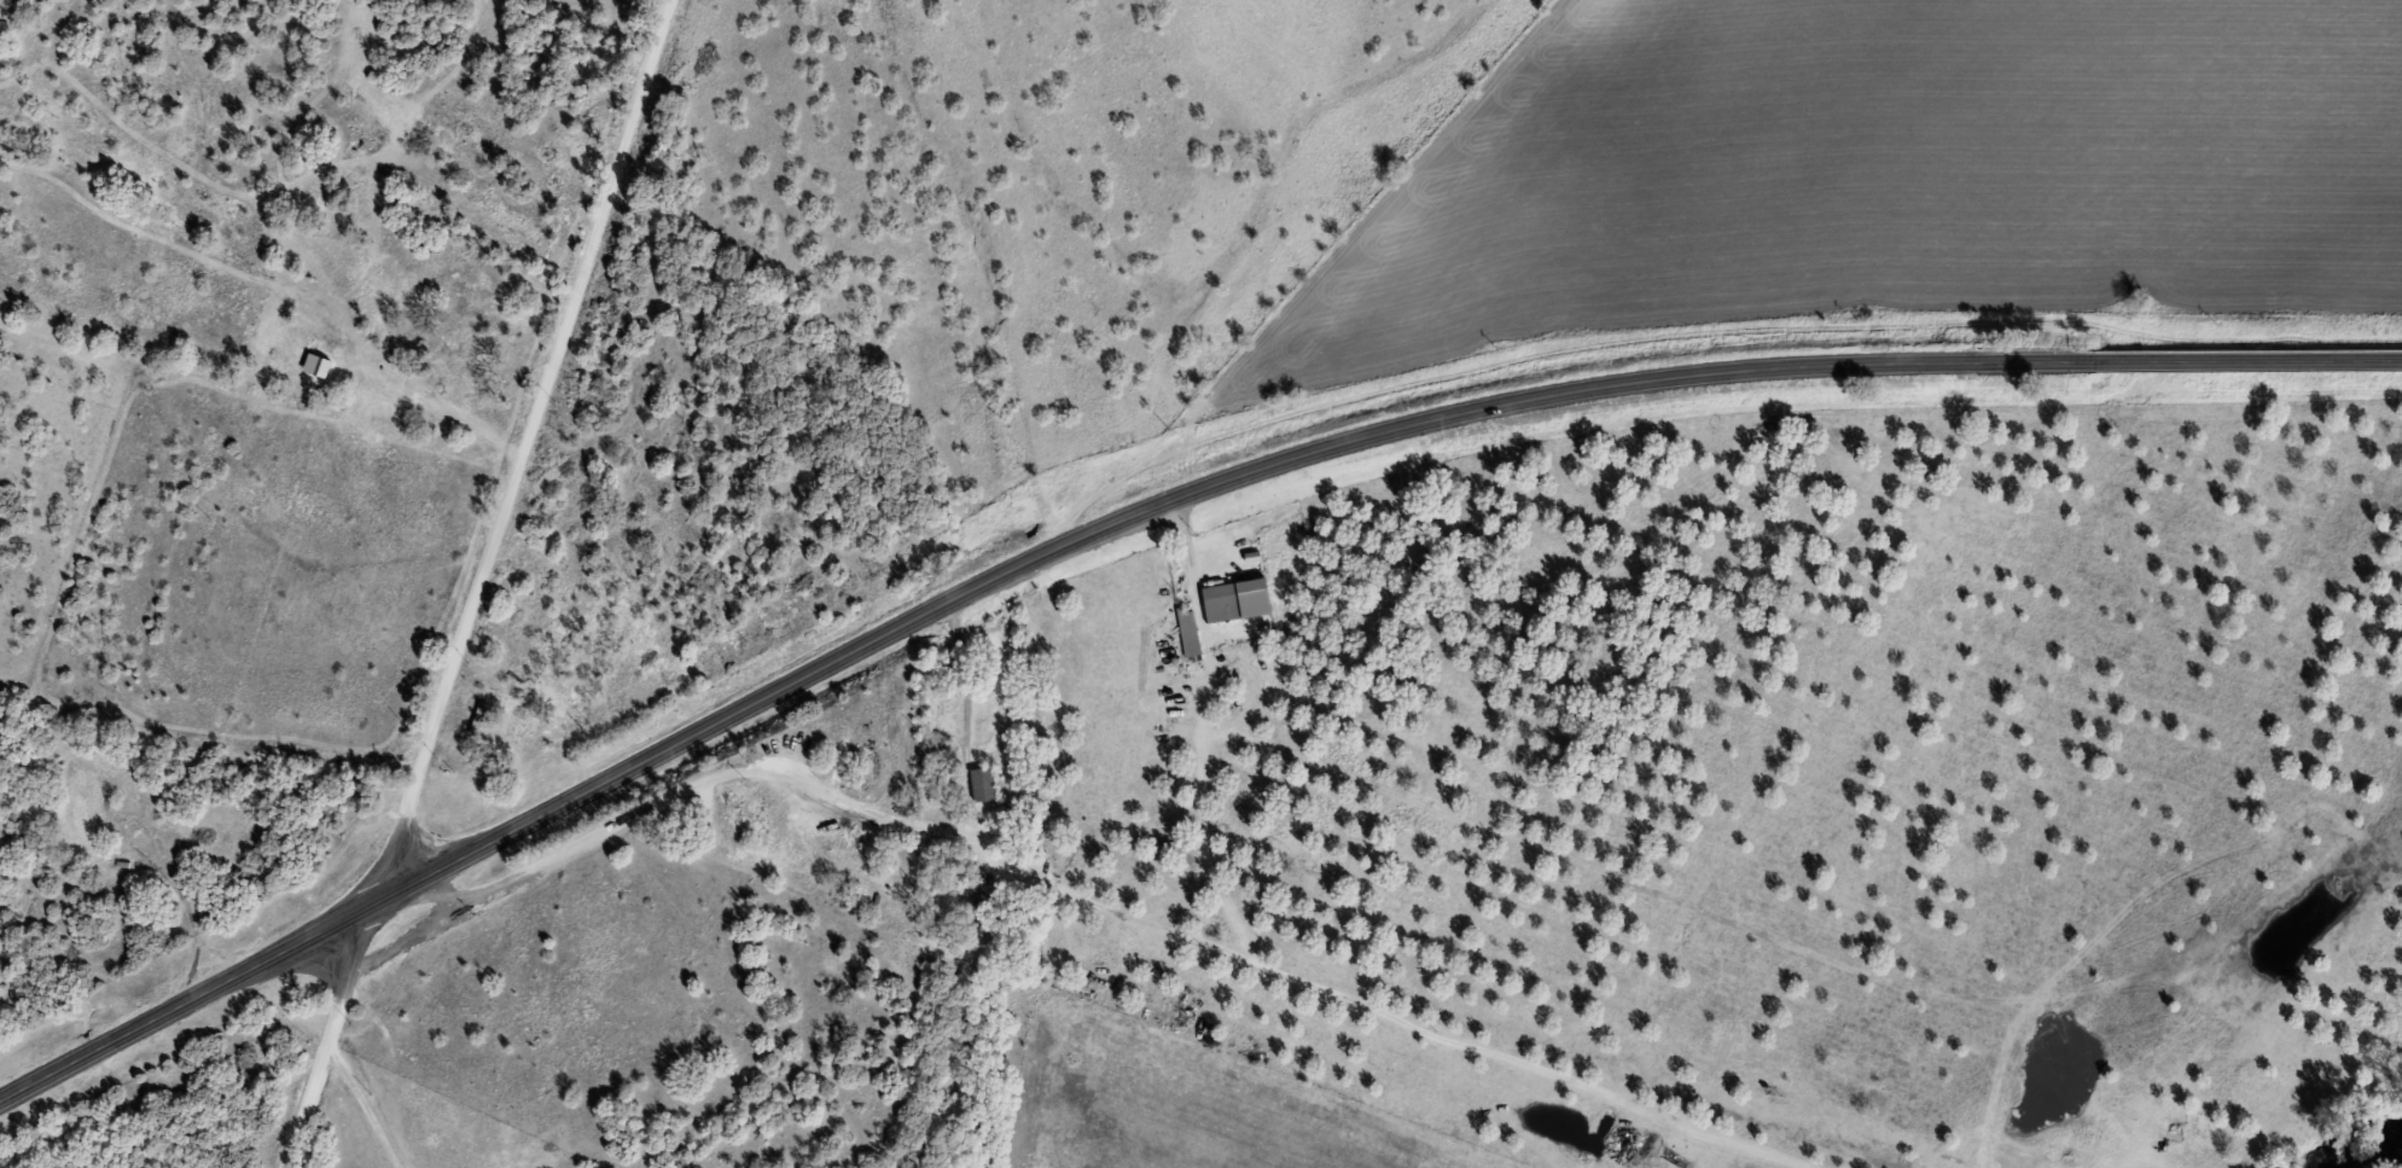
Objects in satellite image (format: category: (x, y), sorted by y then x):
building: (411, 329)
building: (319, 331)
building: (291, 359)
road: (339, 360)
building: (460, 365)
road: (547, 442)
road: (1140, 516)
building: (1238, 604)
building: (1191, 634)
building: (482, 722)
building: (985, 788)
road: (946, 790)
building: (89, 801)
building: (983, 916)
road: (350, 1024)
river: (2361, 1140)

